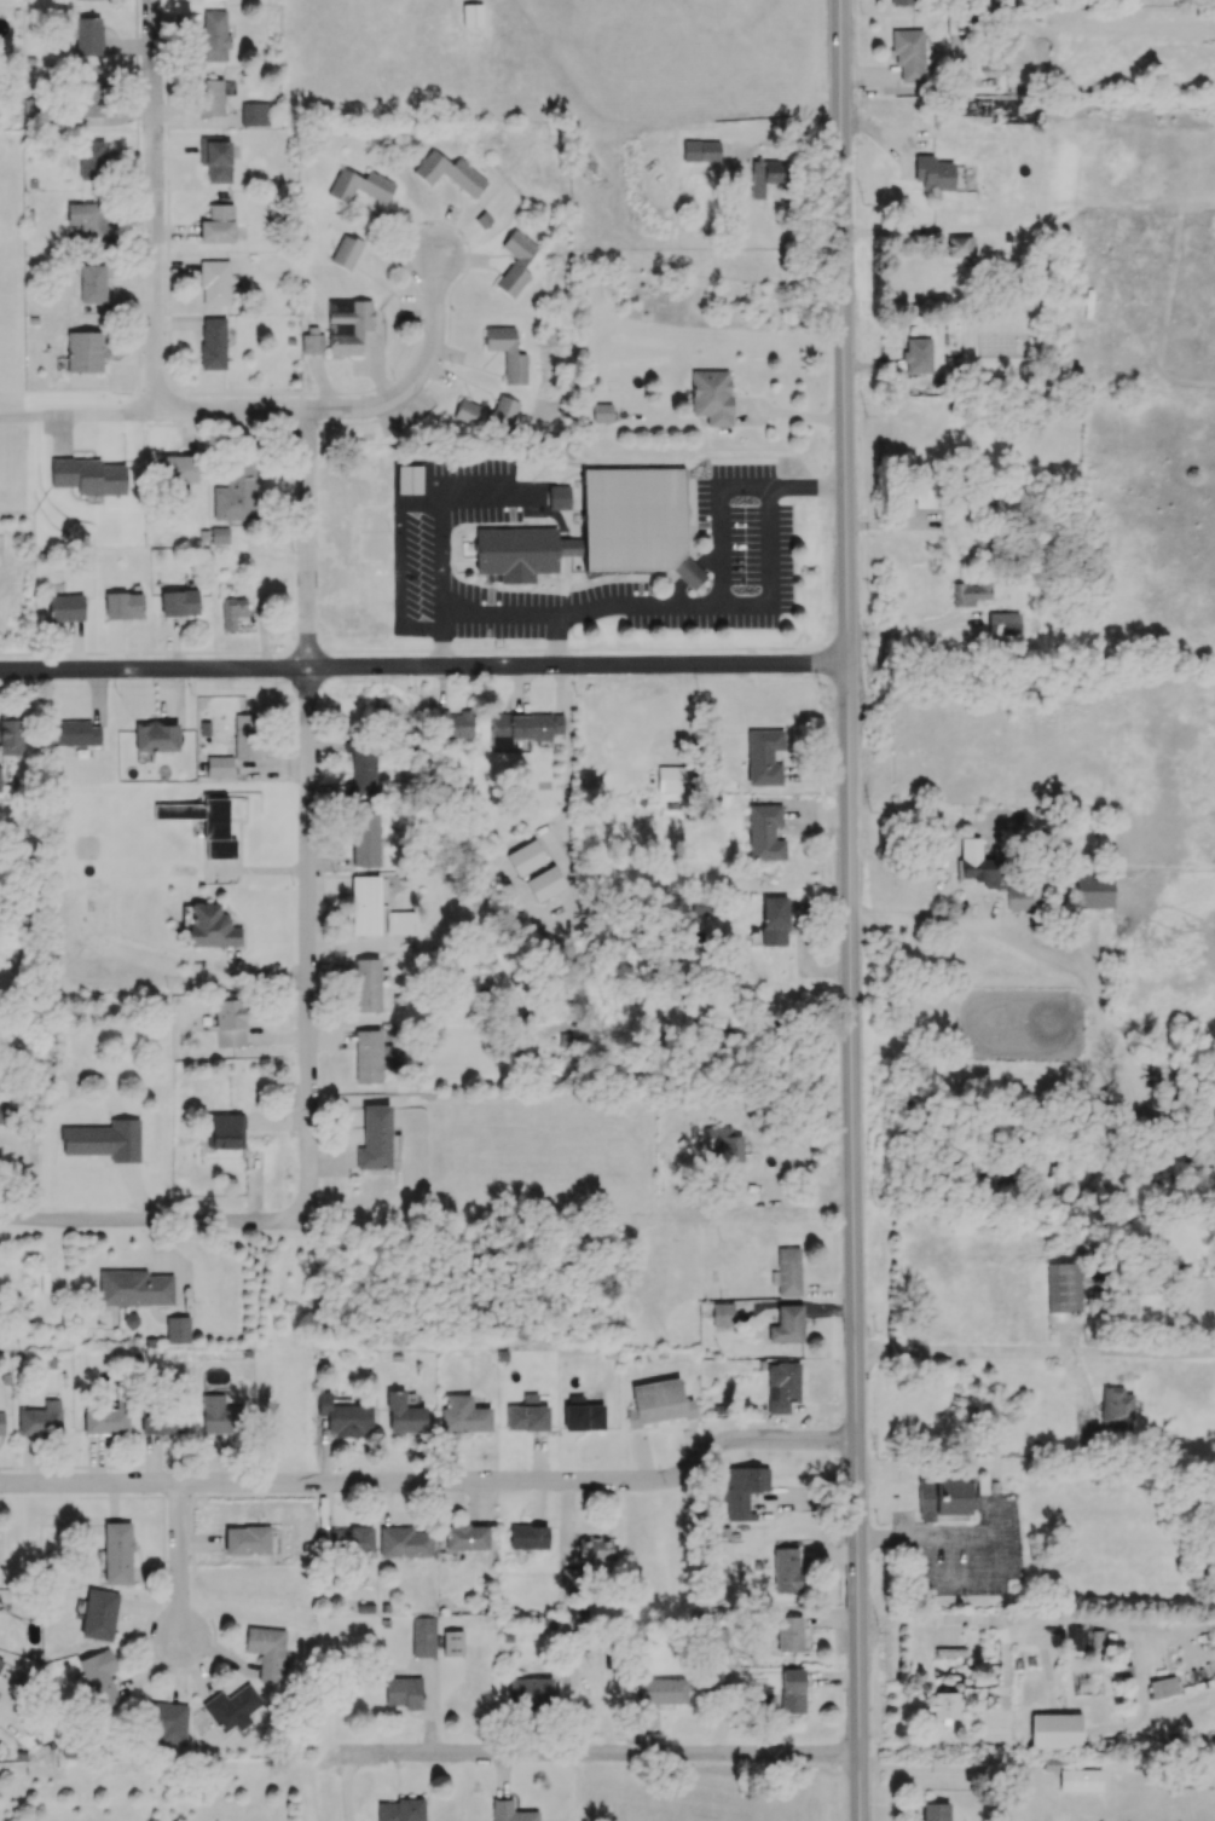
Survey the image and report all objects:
building: (901, 2)
building: (471, 15)
building: (87, 35)
building: (212, 36)
building: (908, 53)
building: (93, 97)
building: (209, 97)
building: (36, 112)
building: (254, 114)
road: (922, 139)
building: (700, 150)
building: (215, 157)
building: (91, 160)
building: (449, 173)
building: (933, 173)
building: (765, 175)
building: (359, 185)
road: (155, 204)
building: (88, 220)
building: (218, 224)
building: (959, 245)
building: (346, 252)
building: (515, 262)
building: (214, 282)
building: (92, 283)
building: (347, 324)
road: (845, 333)
building: (212, 342)
building: (312, 343)
building: (85, 351)
building: (508, 353)
building: (916, 354)
road: (423, 375)
building: (711, 395)
road: (174, 410)
road: (19, 412)
building: (601, 412)
building: (487, 414)
building: (178, 469)
building: (88, 475)
building: (407, 481)
building: (236, 492)
building: (925, 493)
building: (559, 497)
building: (602, 530)
building: (220, 534)
road: (719, 566)
building: (970, 592)
building: (179, 602)
building: (122, 605)
building: (65, 607)
building: (232, 612)
road: (497, 615)
building: (1002, 623)
road: (919, 629)
road: (424, 666)
building: (455, 723)
building: (523, 727)
building: (73, 733)
building: (10, 734)
building: (245, 736)
building: (156, 738)
building: (763, 757)
building: (361, 765)
building: (219, 767)
building: (673, 779)
road: (309, 815)
building: (204, 823)
building: (764, 832)
building: (364, 839)
building: (525, 857)
building: (977, 871)
building: (544, 883)
building: (1093, 890)
building: (1024, 895)
building: (365, 904)
building: (774, 920)
building: (400, 921)
road: (948, 923)
building: (210, 926)
building: (366, 984)
building: (228, 1022)
building: (368, 1056)
building: (5, 1112)
building: (224, 1131)
building: (375, 1138)
building: (722, 1144)
road: (129, 1155)
road: (780, 1195)
road: (150, 1221)
road: (855, 1242)
building: (787, 1271)
building: (1063, 1287)
building: (133, 1288)
building: (722, 1313)
building: (787, 1324)
building: (177, 1329)
road: (1035, 1353)
building: (781, 1386)
building: (659, 1403)
building: (1116, 1407)
building: (403, 1414)
building: (463, 1414)
building: (583, 1414)
building: (220, 1415)
building: (527, 1415)
building: (342, 1416)
building: (40, 1418)
building: (108, 1418)
building: (161, 1421)
building: (1, 1422)
road: (433, 1484)
building: (740, 1490)
building: (942, 1499)
building: (467, 1536)
building: (528, 1536)
road: (925, 1536)
building: (247, 1539)
building: (346, 1540)
building: (404, 1542)
building: (117, 1553)
road: (181, 1563)
building: (786, 1569)
building: (569, 1579)
building: (99, 1614)
road: (956, 1625)
building: (789, 1634)
building: (422, 1636)
building: (1084, 1636)
building: (717, 1641)
building: (452, 1642)
building: (267, 1651)
building: (1, 1661)
building: (98, 1678)
building: (1163, 1687)
building: (660, 1690)
building: (792, 1690)
building: (403, 1692)
building: (530, 1692)
building: (942, 1705)
building: (231, 1707)
building: (166, 1723)
building: (1055, 1730)
road: (594, 1757)
road: (953, 1773)
building: (1080, 1780)
building: (400, 1810)
building: (510, 1811)
building: (935, 1811)

